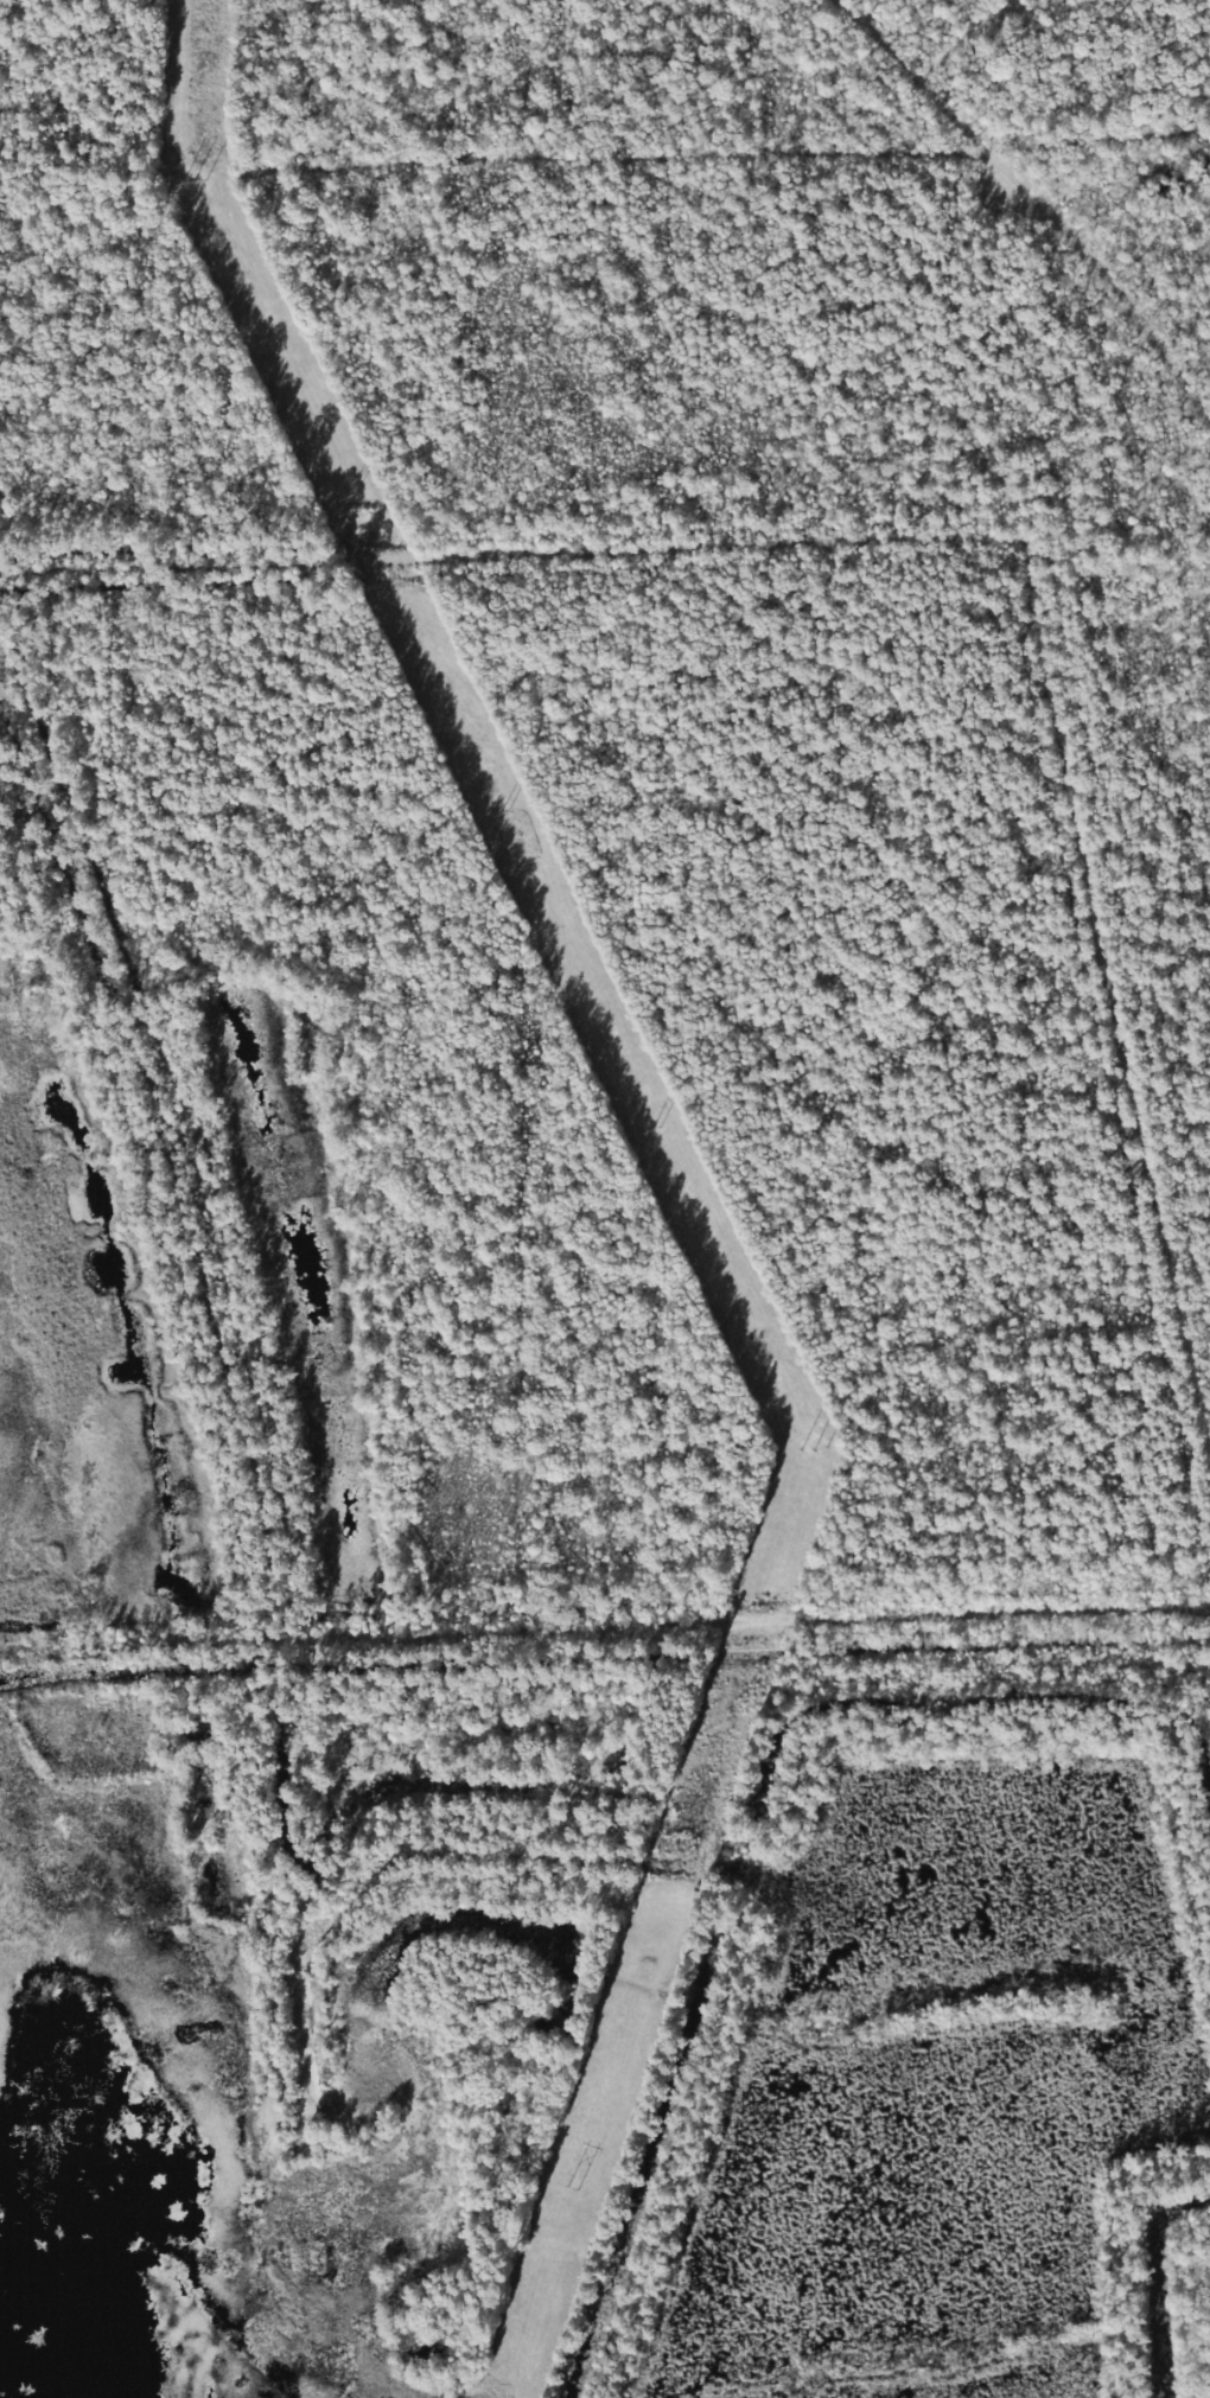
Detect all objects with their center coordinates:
road: (1025, 202)
road: (1001, 1627)

